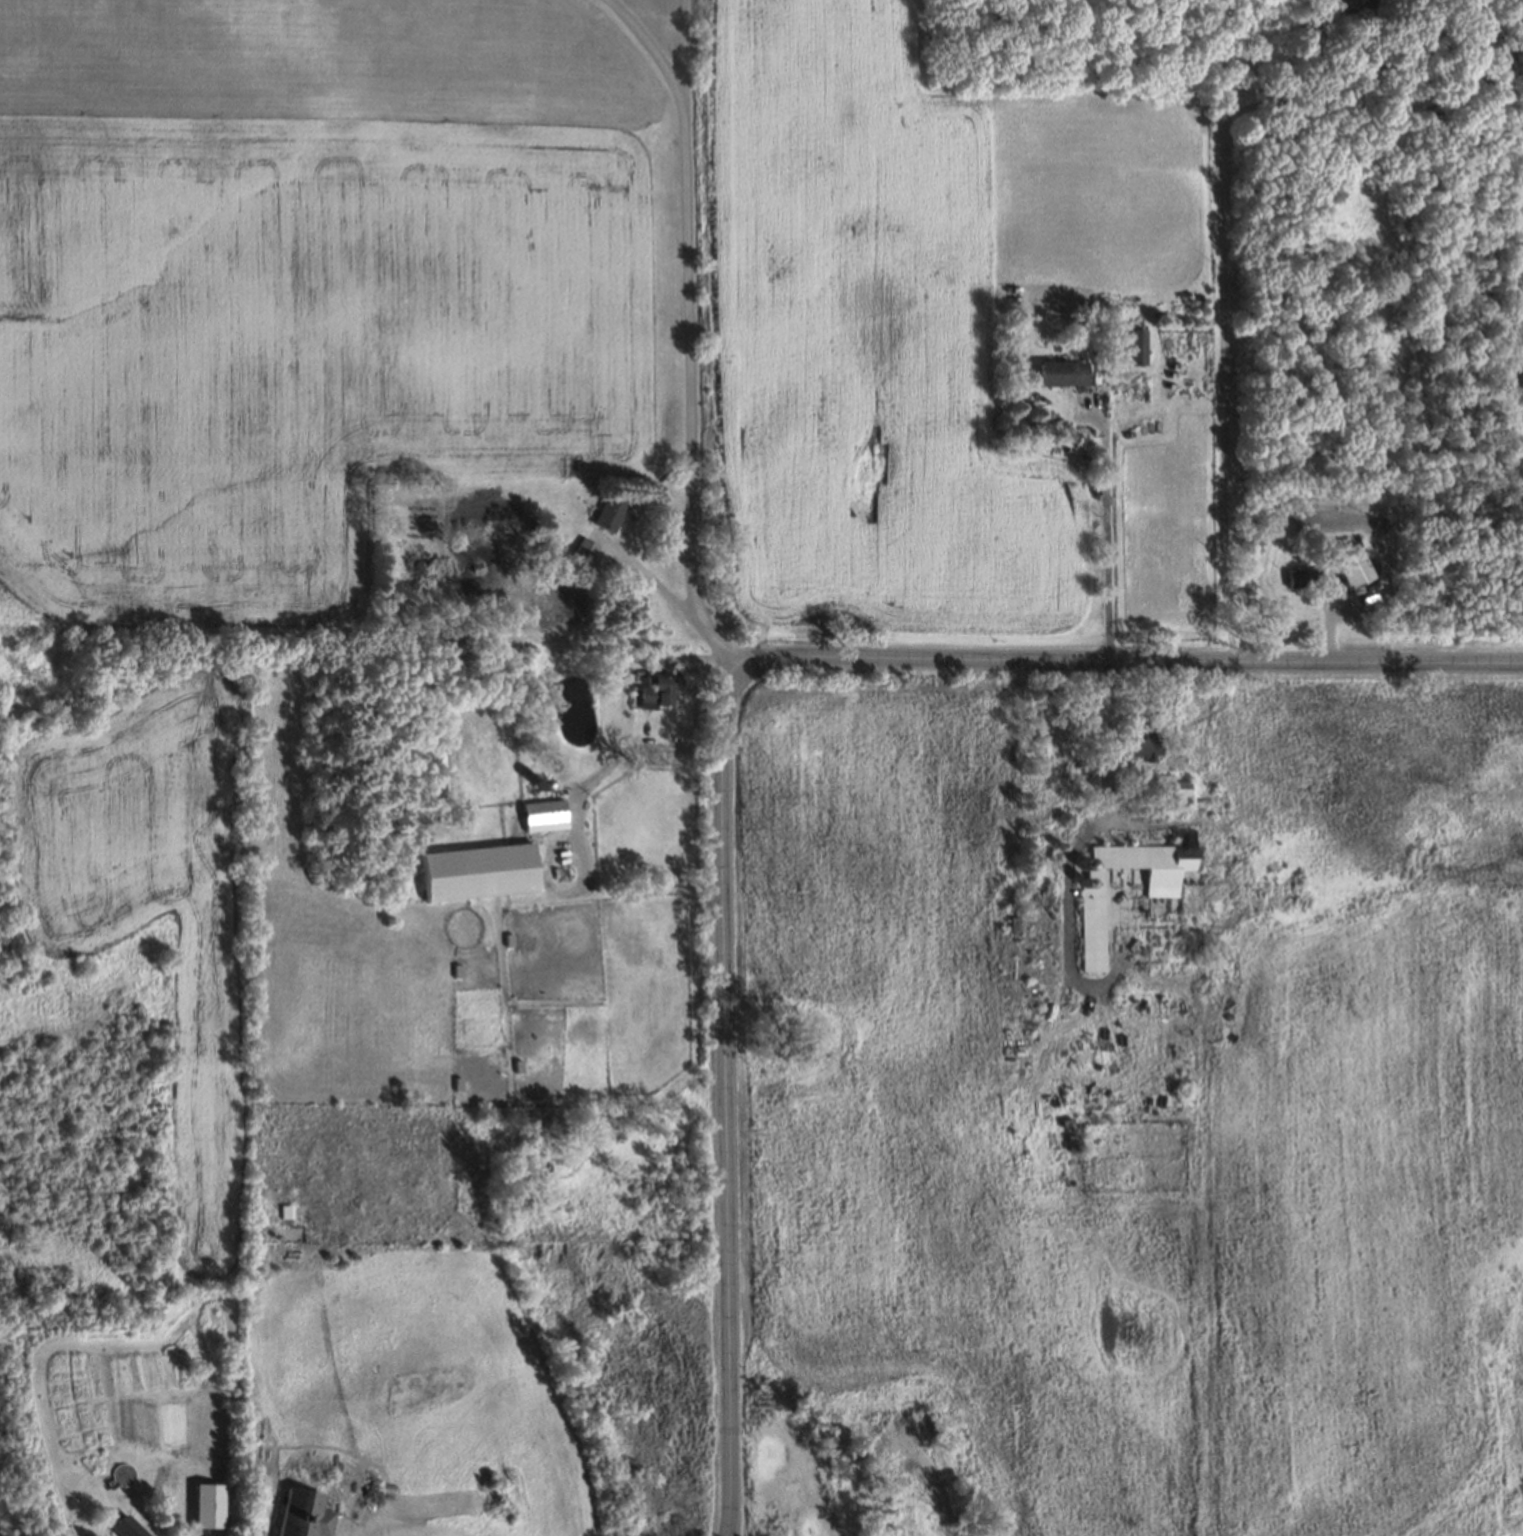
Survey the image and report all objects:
park: (1500, 13)
road: (1218, 262)
road: (689, 330)
building: (1128, 347)
building: (1095, 357)
building: (1110, 358)
building: (1056, 371)
building: (605, 512)
road: (1106, 524)
building: (581, 548)
building: (1349, 569)
road: (649, 574)
building: (1297, 576)
road: (1128, 658)
building: (651, 693)
building: (1132, 734)
building: (1148, 749)
road: (607, 767)
building: (523, 768)
building: (537, 781)
building: (1168, 787)
building: (1148, 804)
building: (1155, 814)
building: (546, 817)
building: (1062, 817)
building: (481, 875)
building: (1118, 896)
building: (1096, 932)
road: (726, 1104)
building: (289, 1232)
building: (204, 1504)
building: (299, 1514)
building: (119, 1524)

